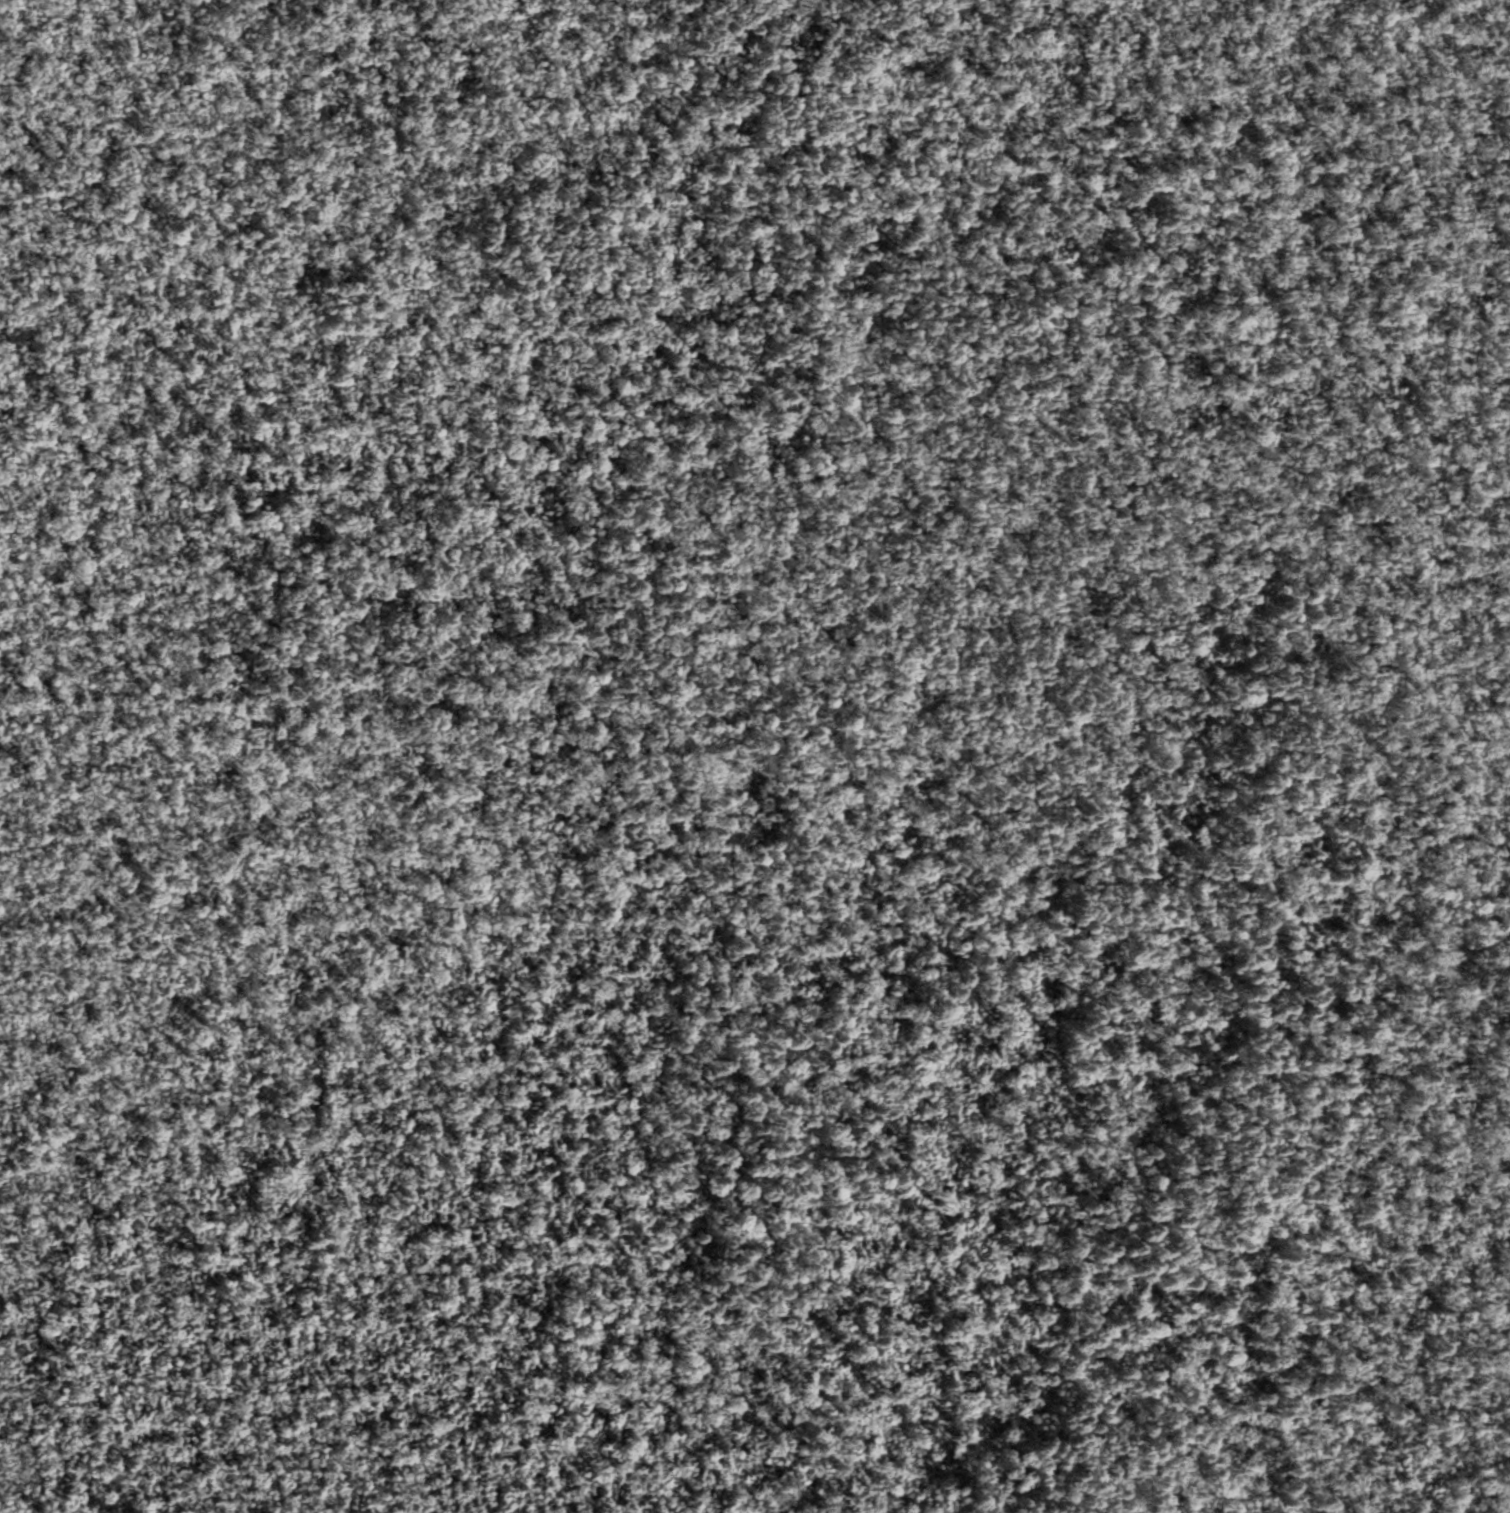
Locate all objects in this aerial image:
road: (1435, 1305)

